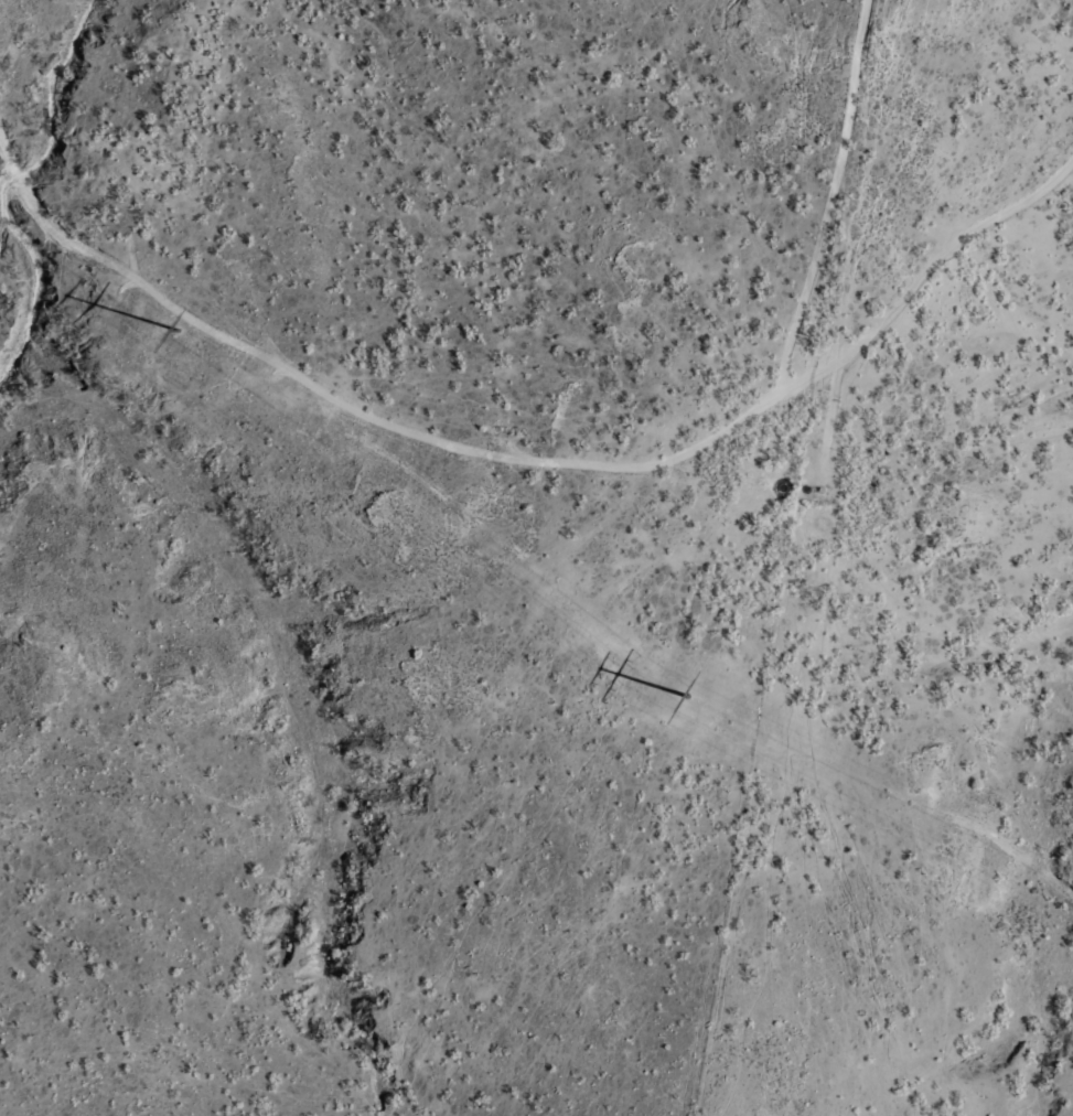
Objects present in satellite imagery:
road: (836, 195)
power tower: (180, 330)
road: (535, 453)
power tower: (687, 695)

